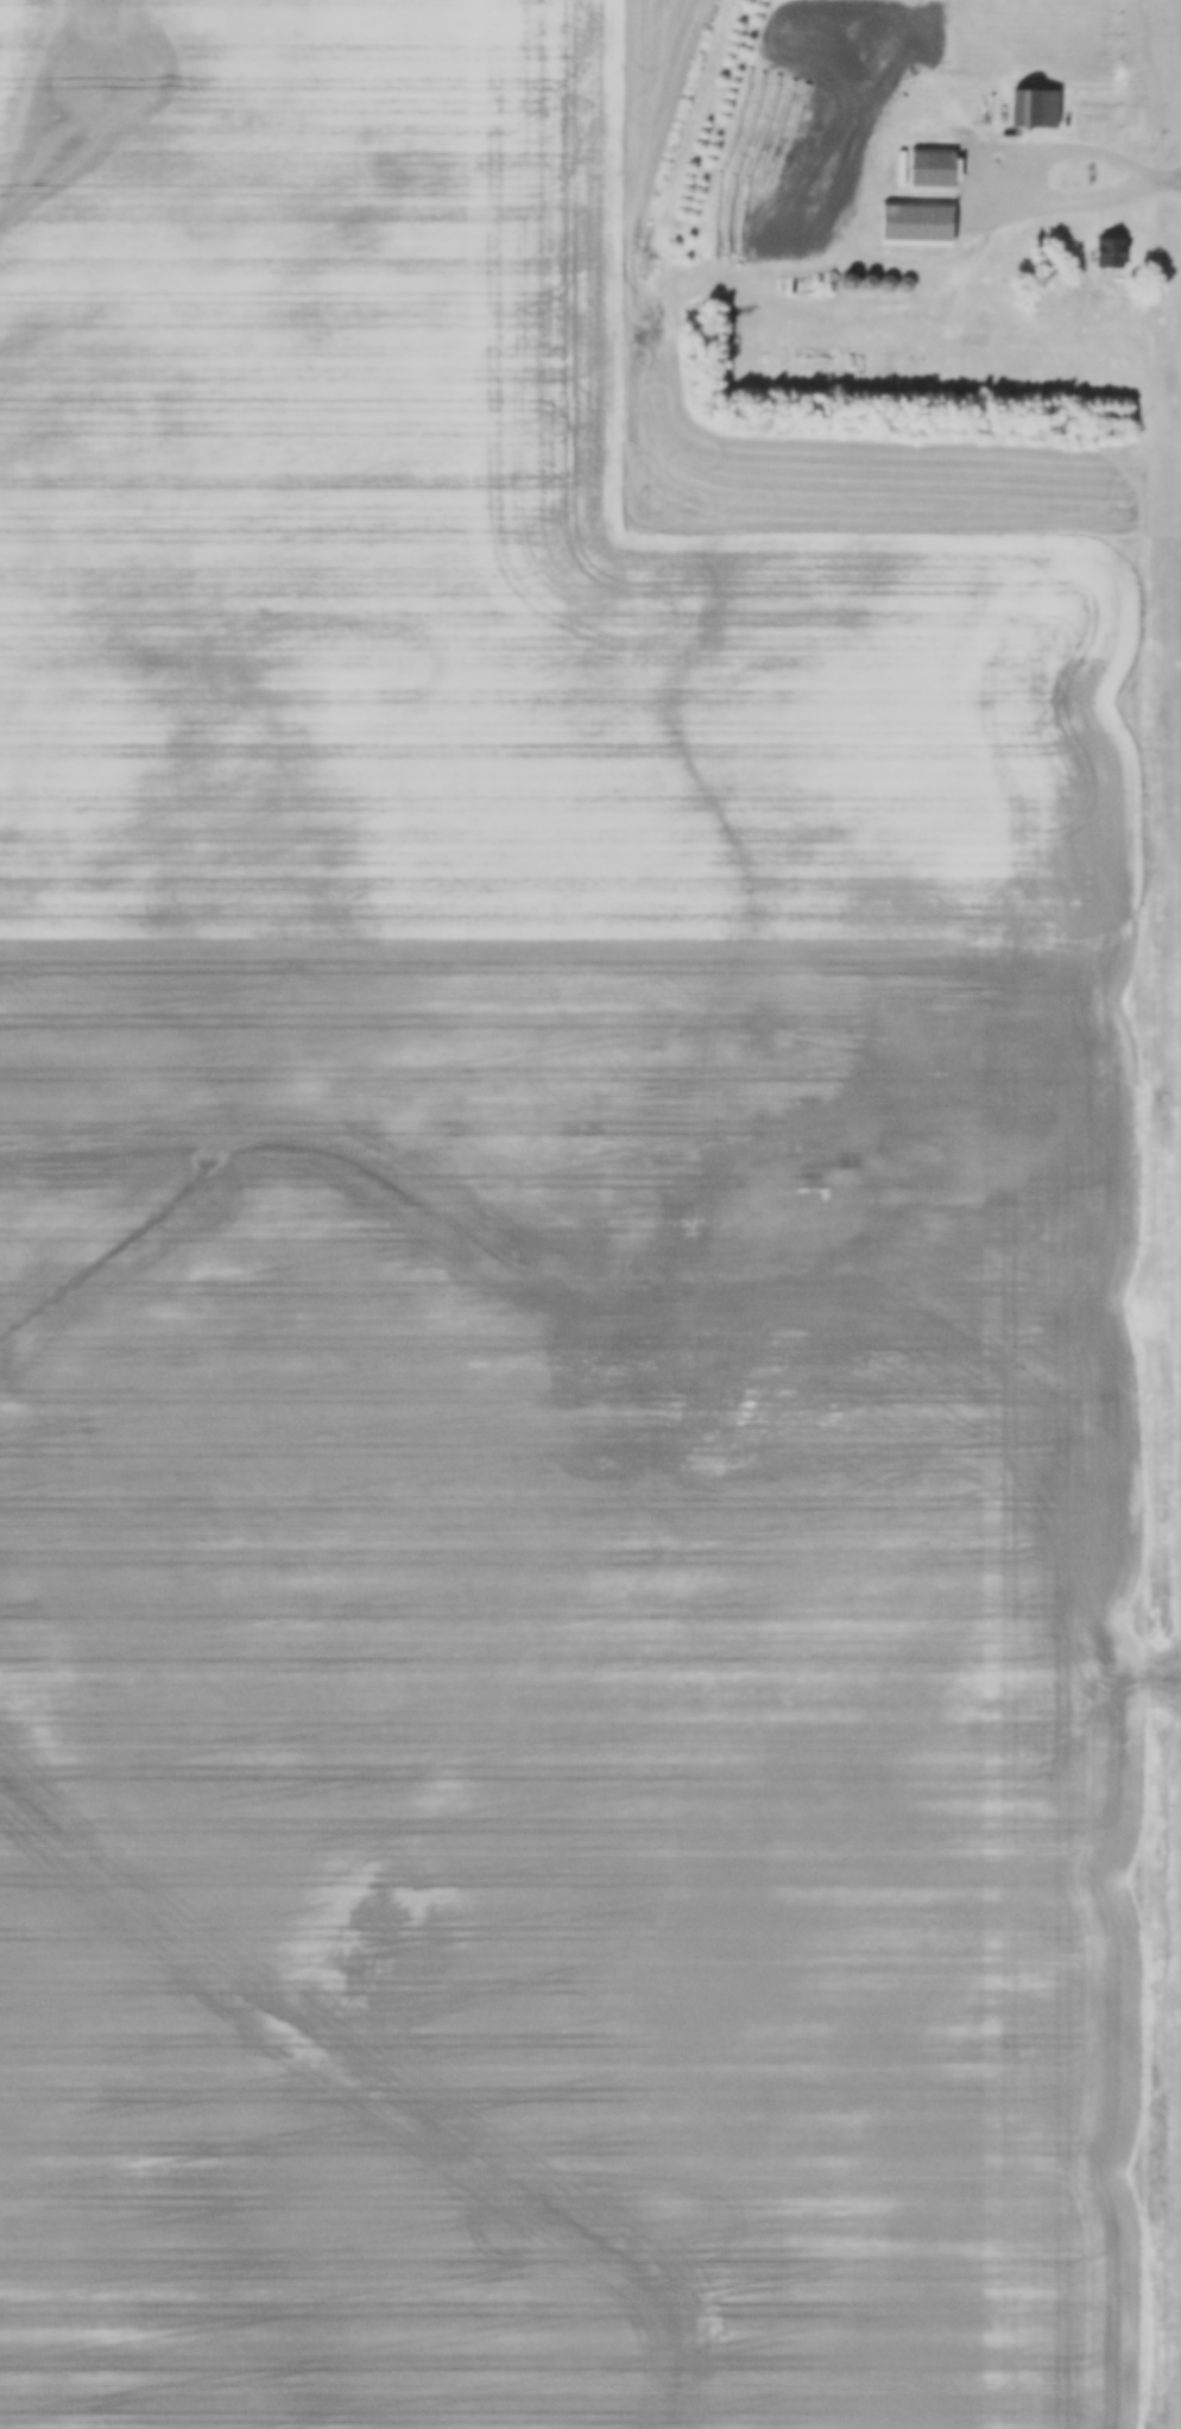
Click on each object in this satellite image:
building: (1032, 107)
building: (930, 165)
road: (1042, 173)
road: (1166, 182)
building: (916, 220)
building: (1110, 253)
building: (923, 261)
building: (869, 280)
silo: (869, 280)
building: (848, 282)
silo: (848, 282)
building: (905, 282)
silo: (905, 282)
building: (888, 283)
silo: (888, 283)

